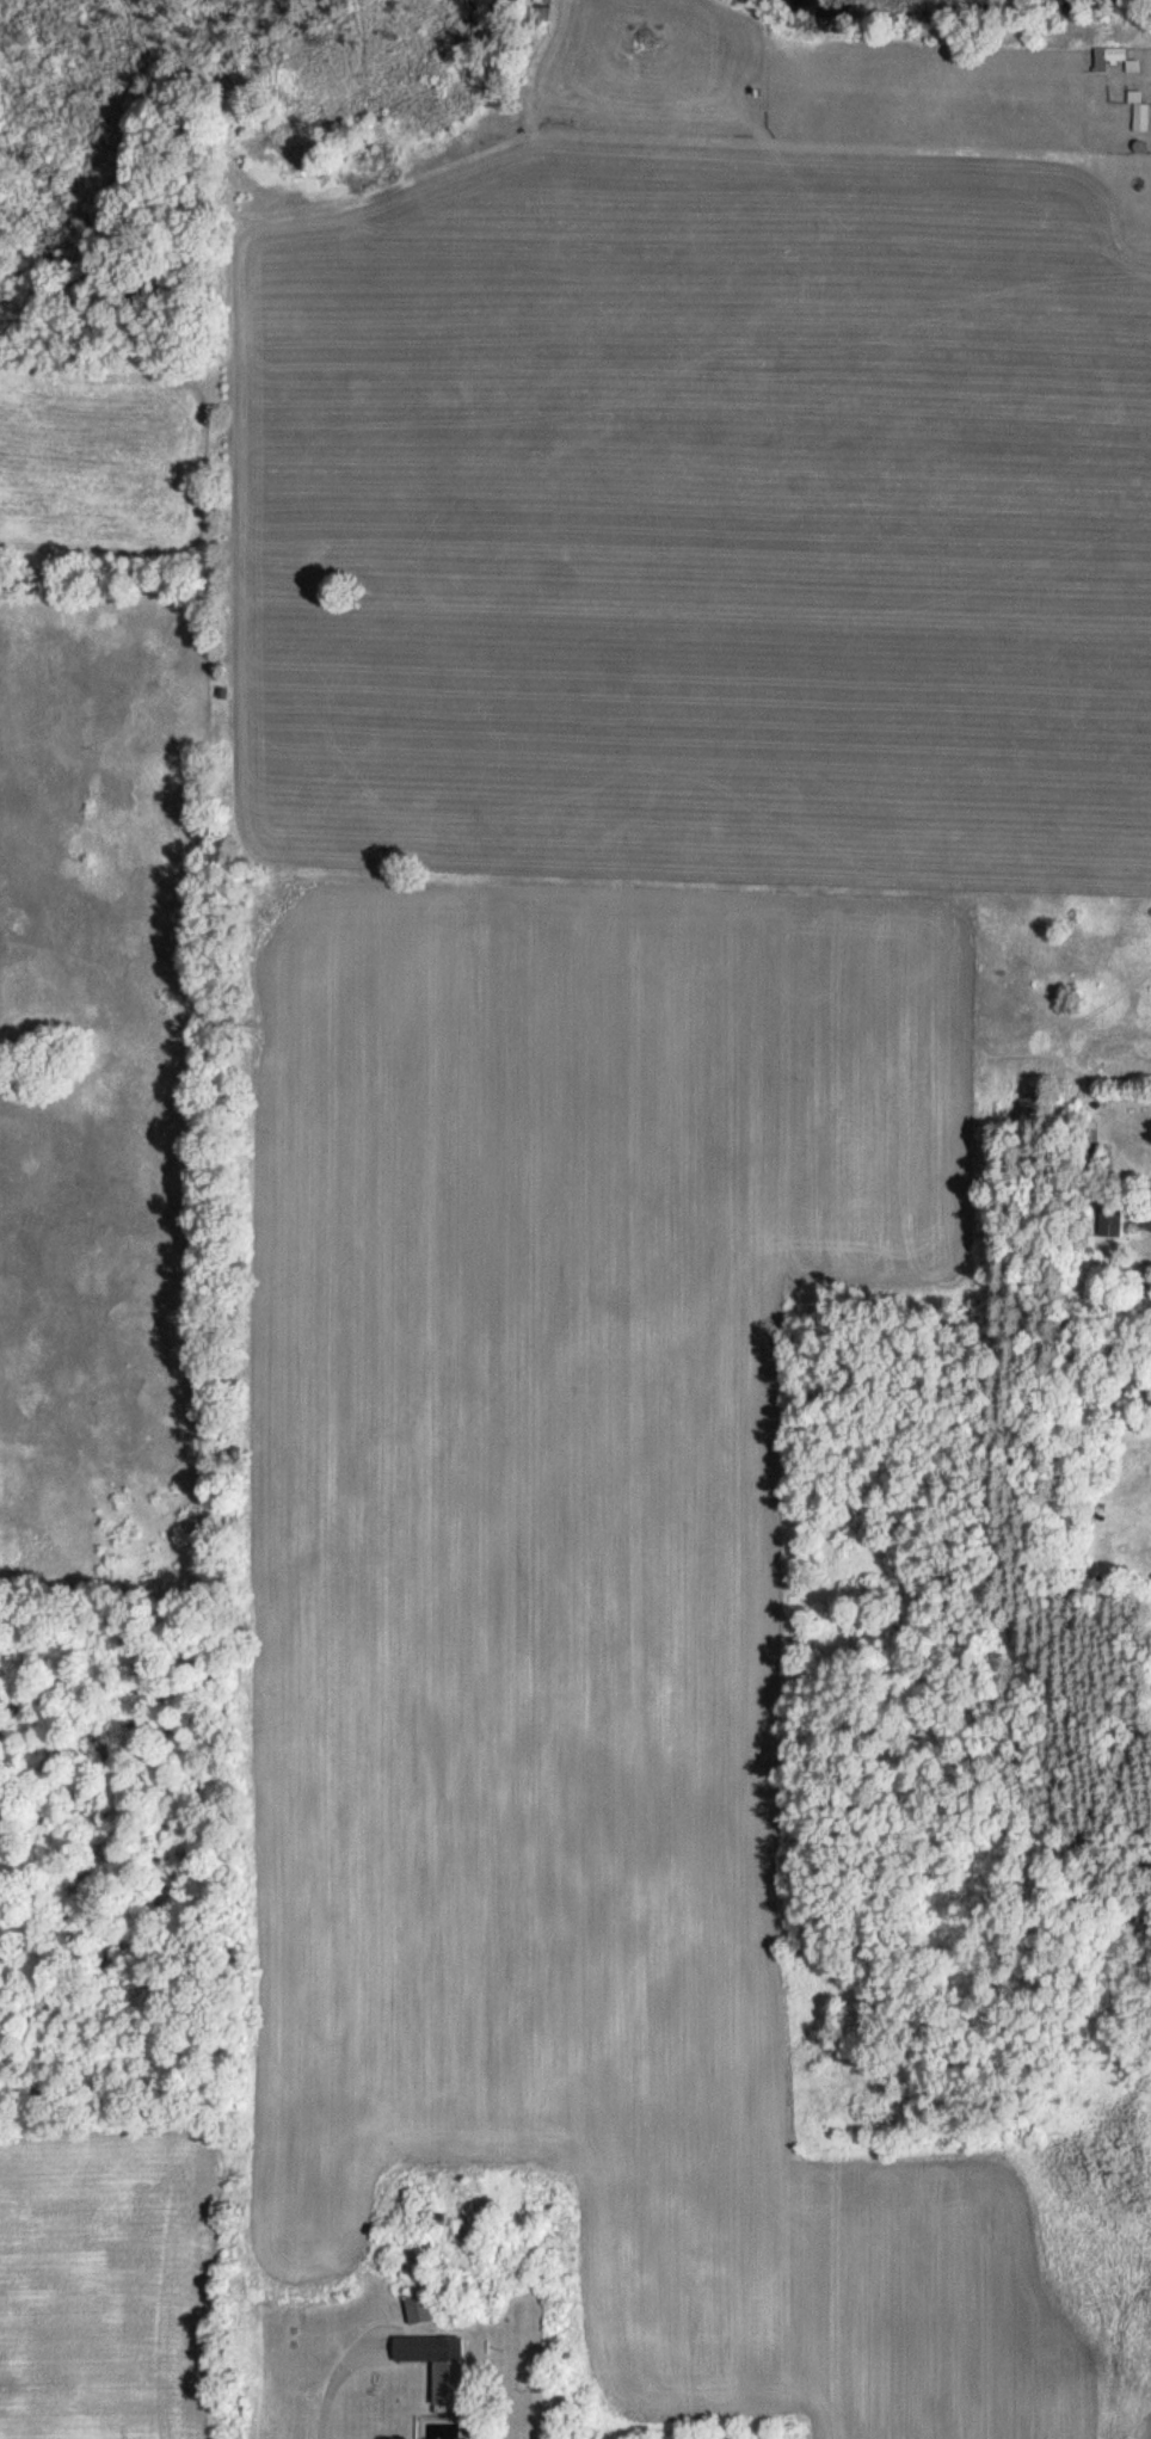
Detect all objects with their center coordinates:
building: (540, 11)
building: (1112, 57)
building: (1138, 110)
building: (1143, 1219)
building: (1112, 1221)
building: (417, 2308)
building: (435, 2365)
road: (332, 2386)

